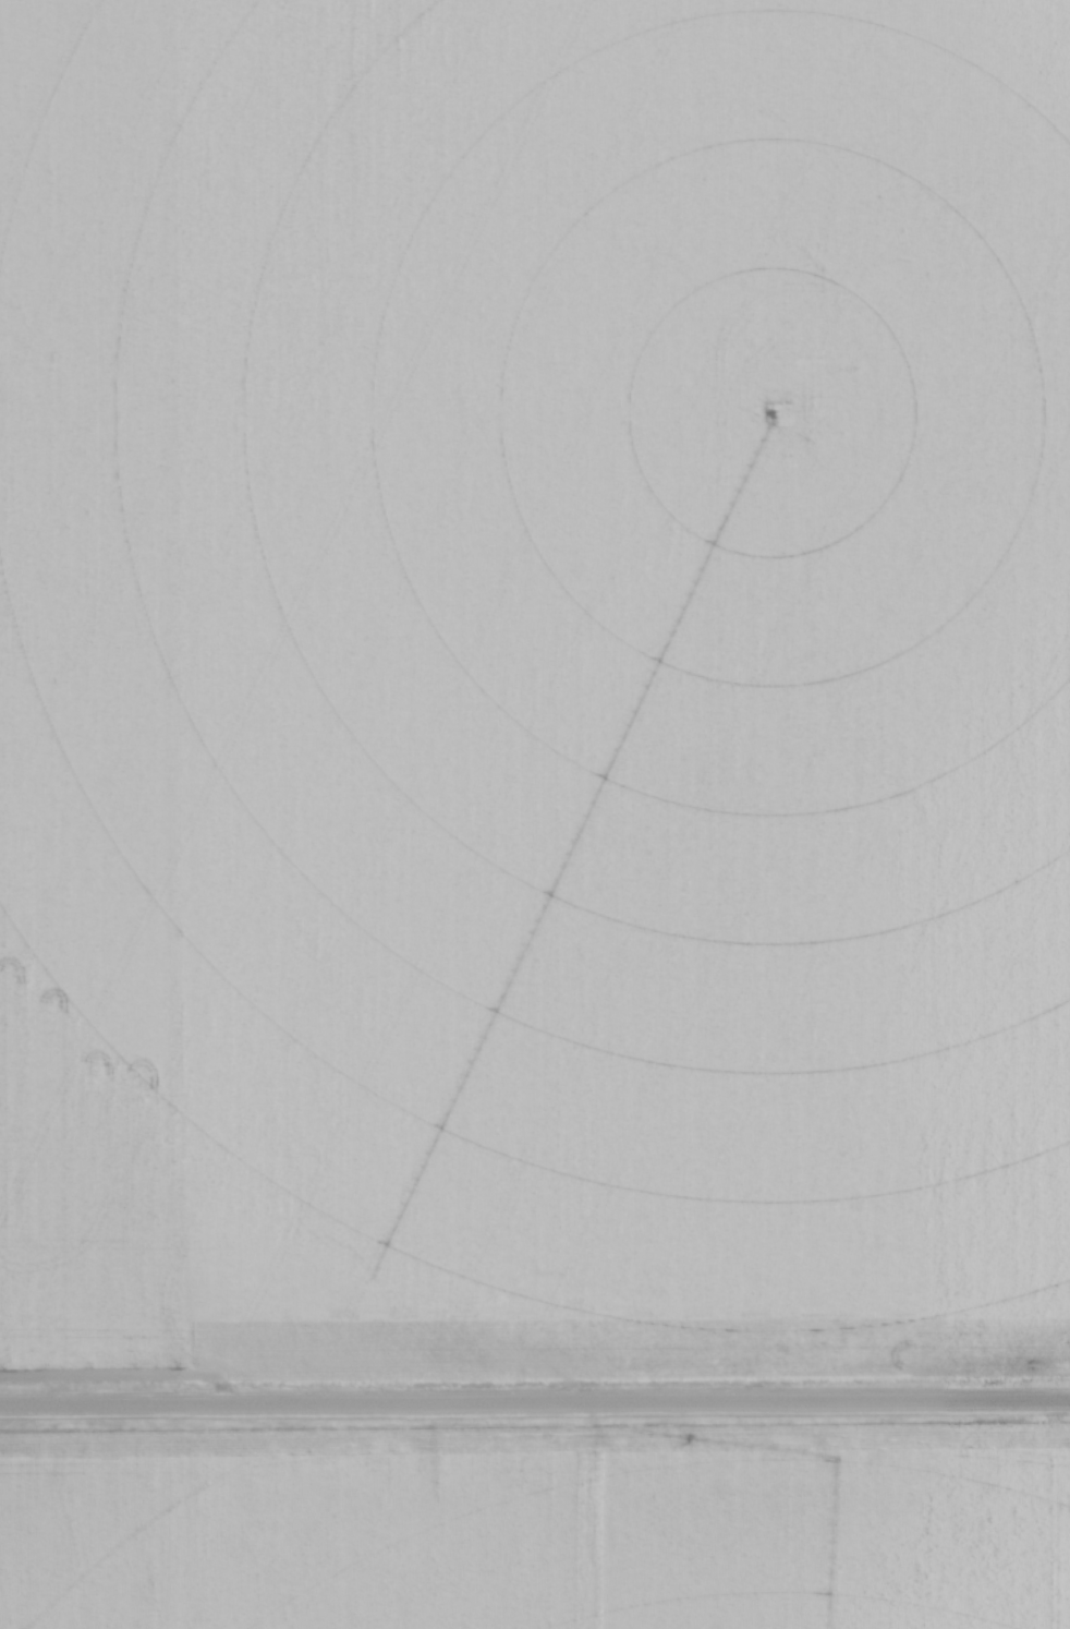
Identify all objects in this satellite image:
crop: (534, 686)
road: (535, 1404)
crop: (537, 1527)

